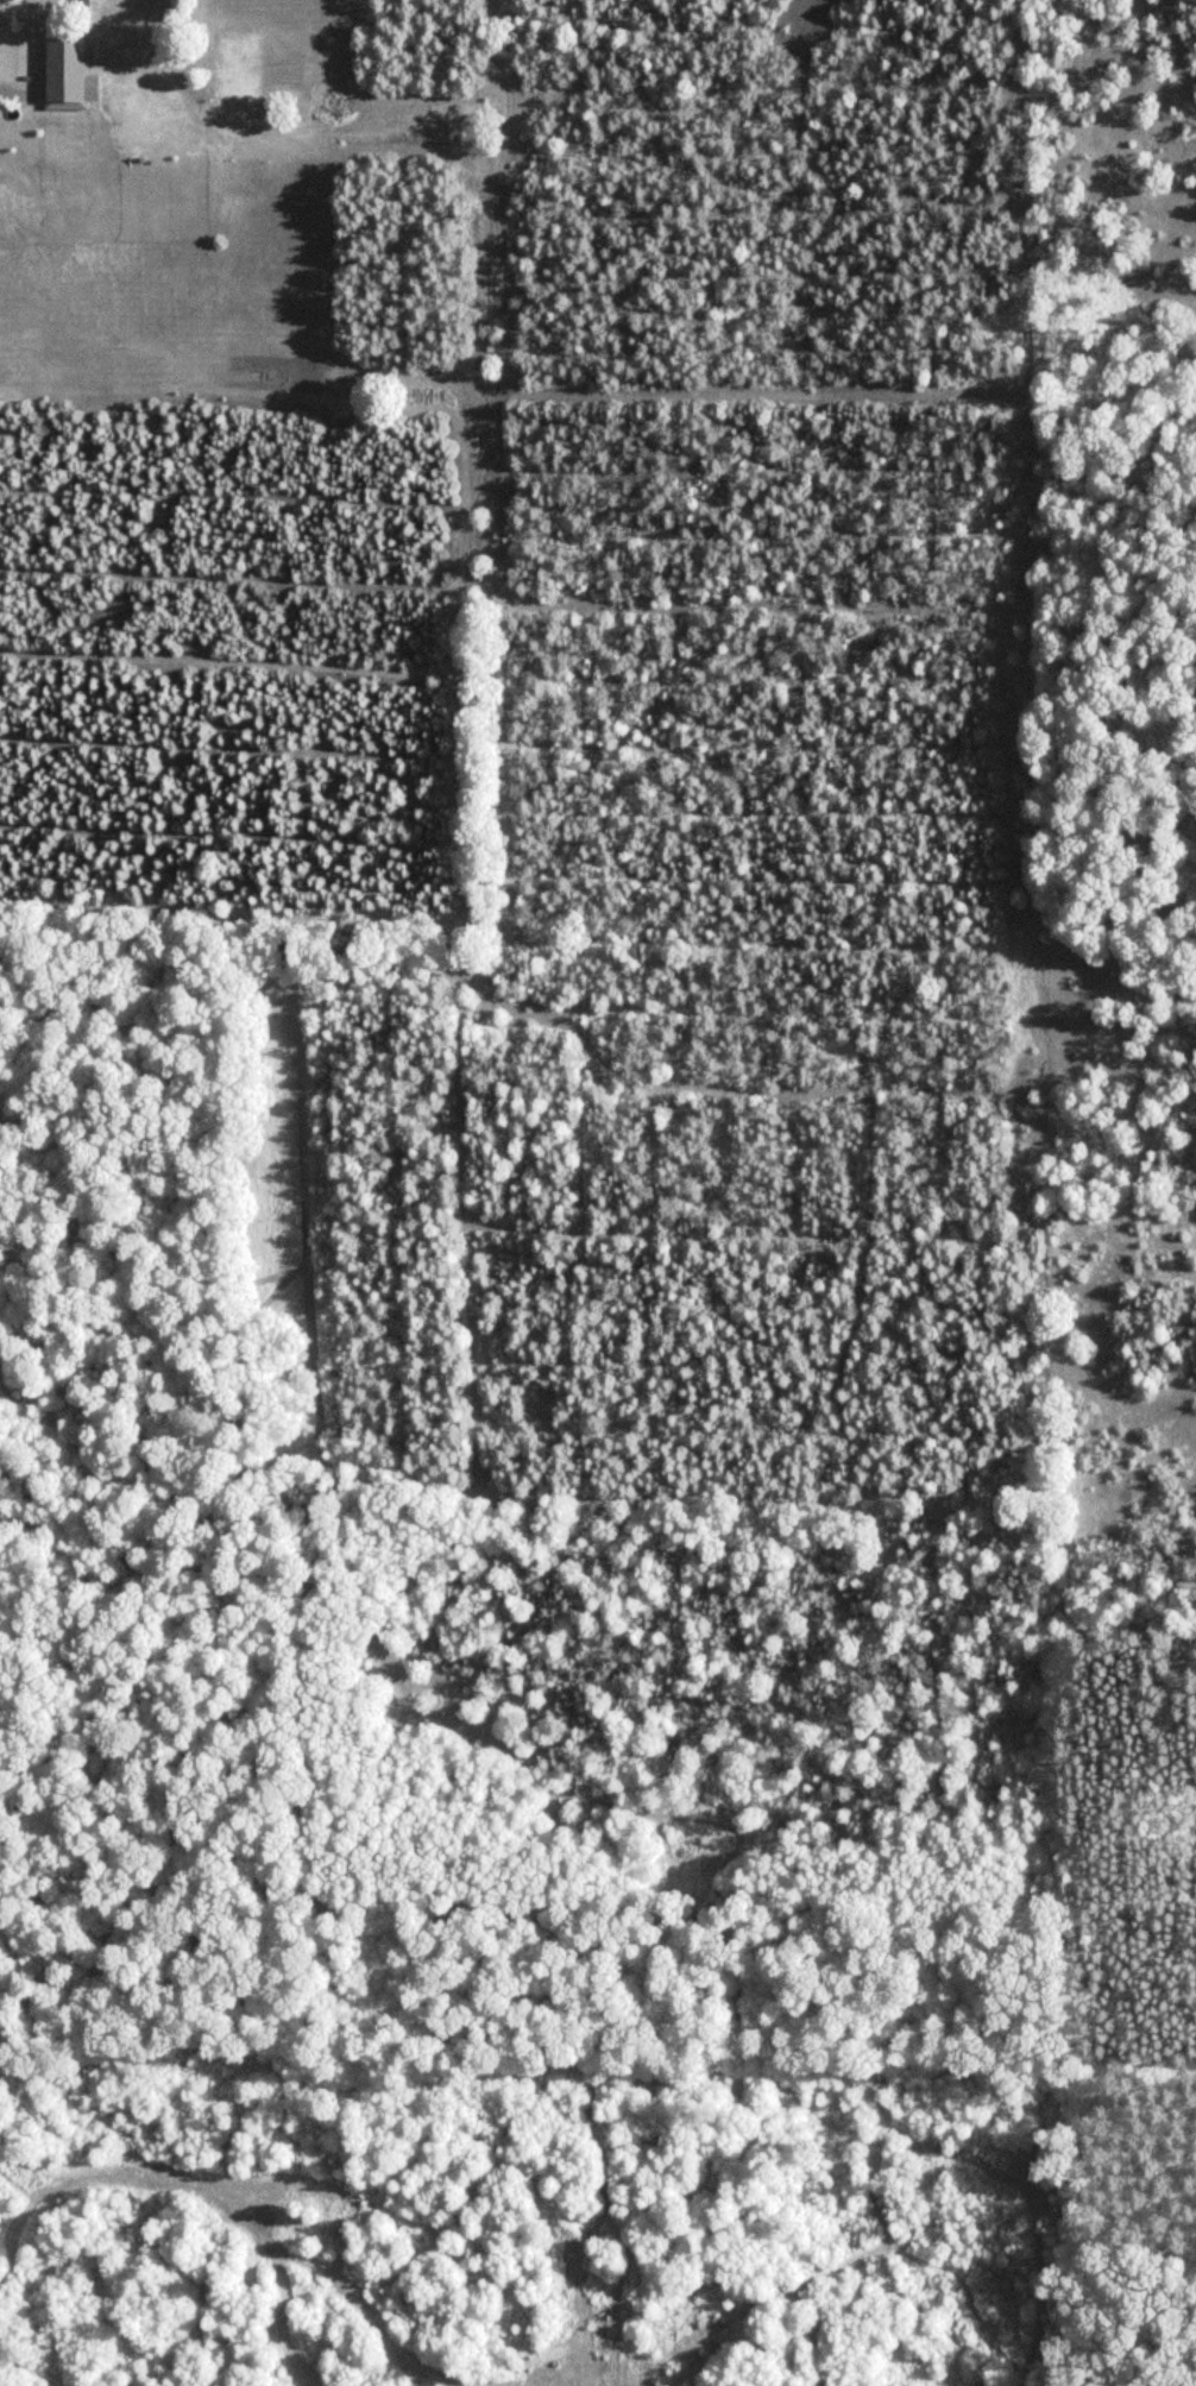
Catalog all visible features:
building: (118, 90)

